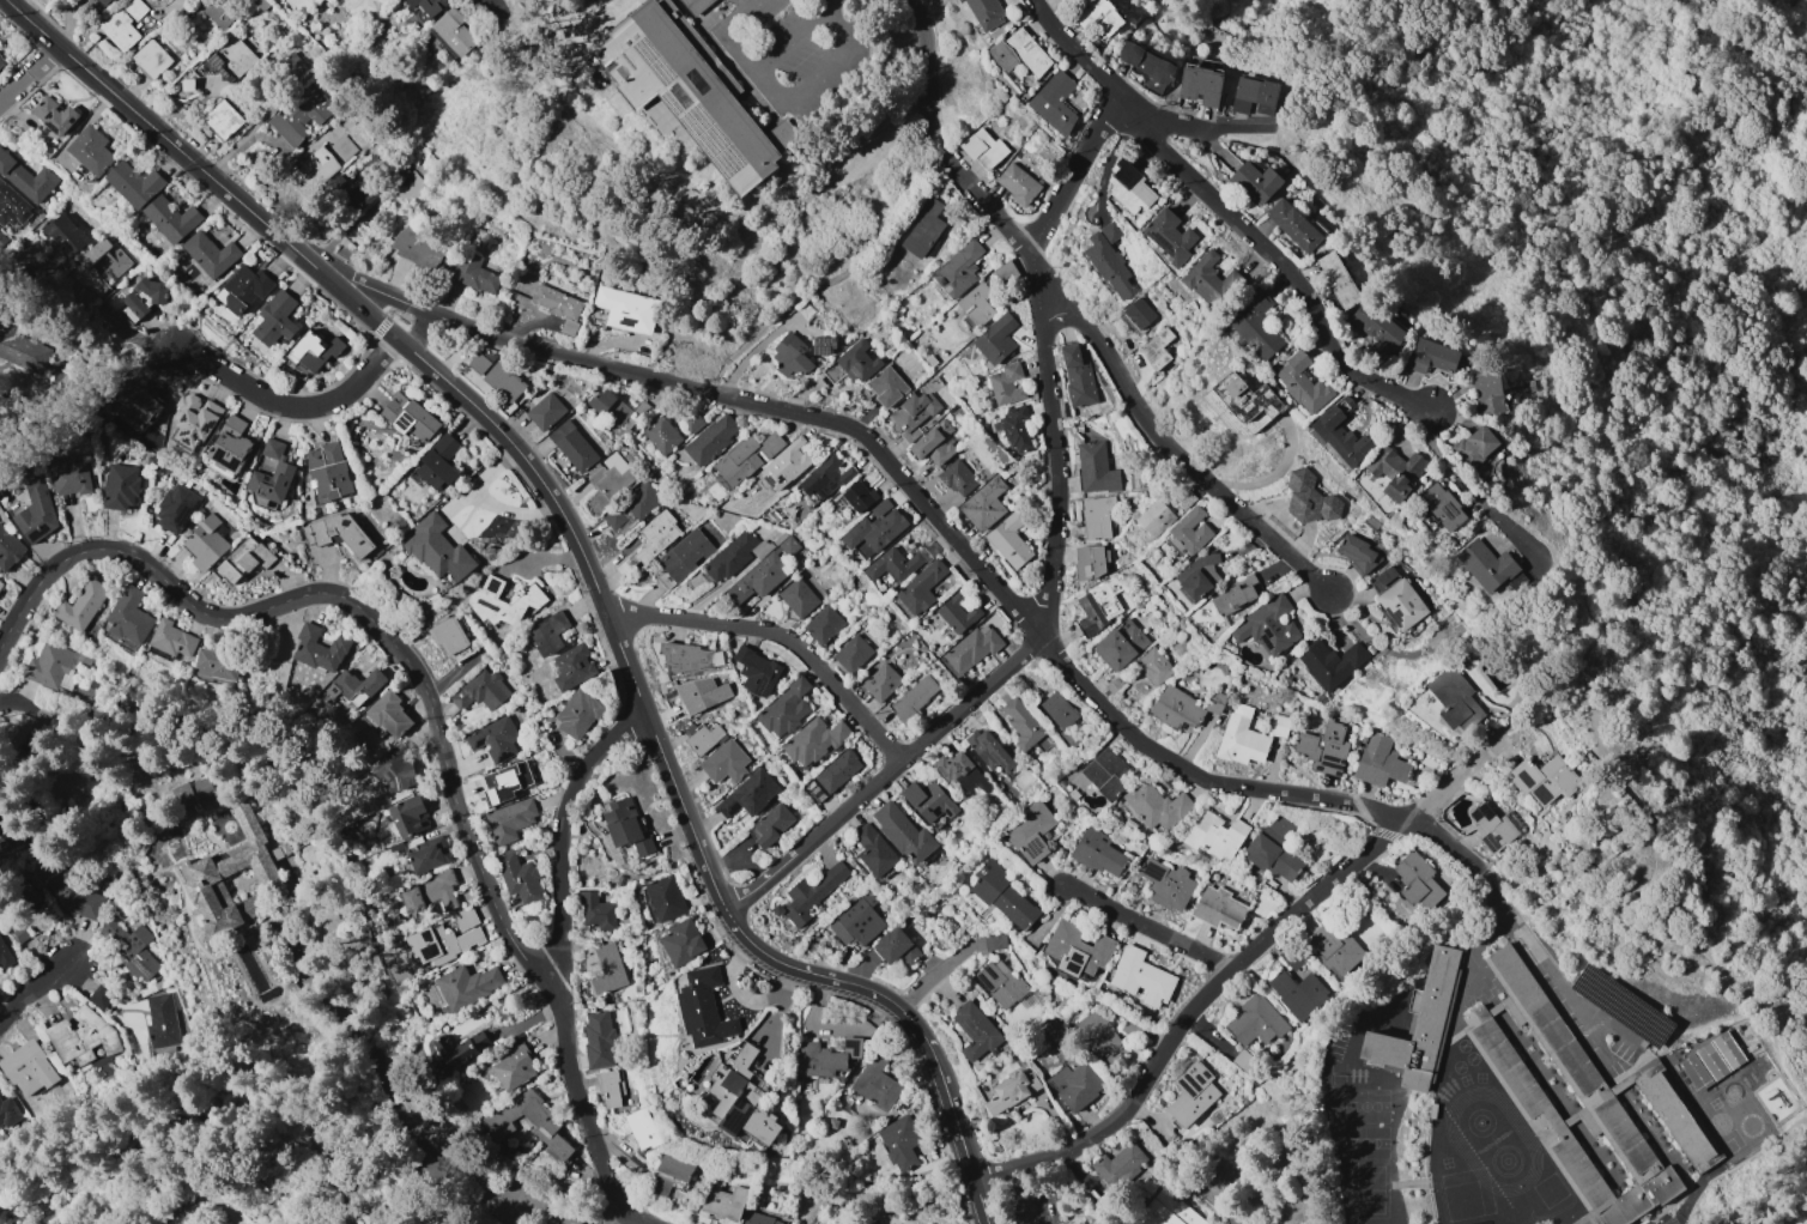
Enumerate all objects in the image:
building: (1063, 1)
building: (104, 2)
building: (261, 4)
building: (696, 5)
building: (429, 6)
building: (135, 8)
road: (170, 8)
building: (222, 11)
building: (986, 12)
building: (1098, 16)
building: (119, 29)
building: (455, 31)
road: (794, 41)
building: (1019, 53)
building: (152, 59)
building: (232, 59)
building: (1, 62)
building: (1145, 62)
building: (295, 67)
road: (28, 72)
road: (927, 79)
building: (188, 85)
building: (1200, 85)
building: (689, 92)
building: (1253, 96)
building: (1054, 102)
road: (784, 104)
road: (1132, 108)
building: (56, 116)
building: (223, 119)
building: (301, 120)
road: (162, 137)
building: (344, 147)
building: (982, 149)
building: (91, 150)
road: (1322, 163)
building: (315, 168)
road: (1075, 171)
building: (28, 178)
building: (1255, 182)
building: (133, 183)
building: (1017, 183)
building: (365, 184)
building: (408, 184)
building: (1129, 188)
road: (681, 200)
building: (13, 206)
building: (170, 217)
building: (1293, 224)
building: (923, 230)
building: (1168, 236)
building: (1, 238)
building: (63, 240)
building: (418, 248)
building: (210, 254)
building: (119, 256)
building: (1109, 260)
building: (957, 269)
road: (1290, 271)
building: (474, 272)
building: (1338, 279)
building: (1209, 280)
building: (243, 289)
building: (145, 297)
building: (556, 302)
building: (976, 303)
building: (625, 309)
building: (1138, 314)
building: (275, 319)
building: (569, 326)
building: (1255, 326)
road: (380, 327)
building: (1376, 327)
road: (418, 331)
building: (995, 339)
building: (823, 346)
building: (22, 349)
building: (1156, 349)
building: (313, 351)
building: (790, 357)
building: (1431, 357)
building: (479, 363)
building: (853, 364)
building: (1077, 376)
building: (503, 382)
building: (1300, 383)
building: (1006, 384)
building: (886, 386)
road: (1124, 387)
building: (1490, 393)
building: (1242, 405)
building: (137, 406)
road: (293, 406)
building: (546, 407)
building: (610, 407)
building: (914, 413)
building: (410, 417)
building: (196, 418)
building: (692, 422)
building: (1015, 428)
building: (1340, 432)
building: (660, 435)
building: (710, 438)
building: (934, 443)
building: (230, 446)
building: (1474, 446)
building: (574, 447)
building: (745, 458)
building: (439, 462)
road: (1449, 462)
building: (784, 465)
building: (1094, 468)
building: (327, 471)
building: (1395, 472)
building: (283, 473)
building: (69, 477)
building: (610, 477)
building: (824, 478)
building: (957, 478)
building: (188, 483)
building: (121, 486)
building: (1, 496)
building: (859, 496)
building: (1310, 499)
building: (641, 501)
building: (983, 504)
building: (1442, 507)
building: (176, 508)
building: (37, 511)
road: (1602, 513)
road: (938, 514)
building: (1096, 516)
building: (612, 517)
building: (1154, 517)
building: (873, 529)
building: (1189, 532)
building: (339, 533)
building: (1008, 540)
building: (206, 543)
building: (649, 543)
building: (438, 547)
building: (10, 549)
road: (578, 551)
building: (1357, 553)
building: (685, 555)
building: (733, 557)
building: (243, 561)
building: (1090, 562)
building: (893, 564)
building: (1485, 565)
building: (763, 572)
building: (1197, 575)
building: (1383, 577)
building: (663, 580)
building: (0, 582)
building: (921, 587)
building: (1233, 595)
building: (798, 598)
road: (23, 602)
building: (502, 602)
building: (81, 604)
building: (1401, 604)
building: (1098, 606)
building: (957, 613)
building: (128, 618)
building: (823, 624)
building: (1268, 626)
building: (550, 634)
building: (448, 635)
road: (778, 635)
building: (172, 638)
road: (390, 642)
building: (1120, 644)
road: (1030, 646)
building: (320, 649)
building: (969, 649)
building: (851, 653)
building: (689, 658)
building: (218, 662)
building: (1330, 662)
building: (56, 666)
building: (572, 666)
building: (1153, 666)
building: (756, 672)
building: (880, 683)
building: (356, 686)
building: (481, 690)
building: (701, 693)
building: (914, 698)
building: (1454, 698)
building: (784, 709)
building: (1057, 709)
building: (1176, 709)
building: (577, 713)
building: (390, 715)
building: (1021, 723)
building: (701, 738)
building: (1248, 738)
building: (495, 739)
building: (812, 741)
road: (1617, 744)
building: (1323, 749)
building: (987, 750)
building: (724, 762)
building: (1379, 762)
building: (394, 769)
building: (837, 770)
building: (960, 772)
building: (1105, 774)
road: (1454, 780)
building: (1544, 780)
building: (504, 784)
building: (193, 793)
building: (817, 793)
building: (747, 794)
building: (929, 804)
building: (1156, 805)
building: (408, 816)
building: (510, 819)
building: (771, 825)
building: (625, 826)
building: (1492, 826)
building: (903, 832)
building: (1030, 832)
road: (564, 836)
building: (1214, 836)
building: (873, 850)
building: (1274, 850)
building: (277, 853)
building: (1098, 853)
building: (428, 858)
building: (205, 872)
building: (519, 877)
building: (1417, 880)
building: (1166, 884)
building: (25, 890)
building: (812, 892)
building: (75, 895)
building: (429, 895)
road: (1496, 895)
building: (1003, 897)
building: (665, 898)
building: (1218, 908)
building: (595, 911)
building: (466, 917)
building: (857, 921)
road: (1146, 926)
building: (20, 931)
building: (994, 941)
building: (441, 943)
building: (681, 943)
building: (895, 947)
building: (1334, 949)
building: (1075, 950)
building: (131, 951)
road: (1476, 951)
road: (764, 955)
building: (5, 956)
building: (607, 970)
road: (930, 976)
building: (1140, 977)
building: (1000, 983)
building: (158, 984)
building: (467, 987)
road: (37, 988)
road: (865, 989)
building: (1297, 993)
road: (1562, 993)
building: (101, 996)
road: (1202, 999)
building: (703, 1008)
building: (162, 1020)
building: (1254, 1022)
building: (424, 1024)
road: (1672, 1024)
building: (1411, 1026)
road: (918, 1031)
building: (975, 1031)
road: (1590, 1034)
building: (83, 1036)
building: (1098, 1036)
building: (598, 1038)
building: (459, 1048)
building: (1728, 1050)
building: (825, 1058)
building: (1710, 1062)
building: (30, 1066)
building: (515, 1066)
building: (1694, 1073)
building: (875, 1084)
building: (1079, 1086)
building: (610, 1089)
building: (1011, 1092)
building: (1191, 1093)
building: (741, 1098)
road: (392, 1101)
building: (1584, 1103)
road: (584, 1110)
building: (8, 1111)
road: (952, 1117)
building: (546, 1127)
building: (642, 1128)
building: (899, 1141)
road: (1759, 1158)
building: (1118, 1165)
park: (1211, 1170)
building: (671, 1174)
road: (989, 1174)
road: (1015, 1196)
road: (978, 1200)
building: (723, 1201)
parking lot: (1029, 1201)
road: (1221, 1208)
road: (1691, 1210)
road: (1726, 1210)
building: (1166, 1211)
road: (618, 1219)

